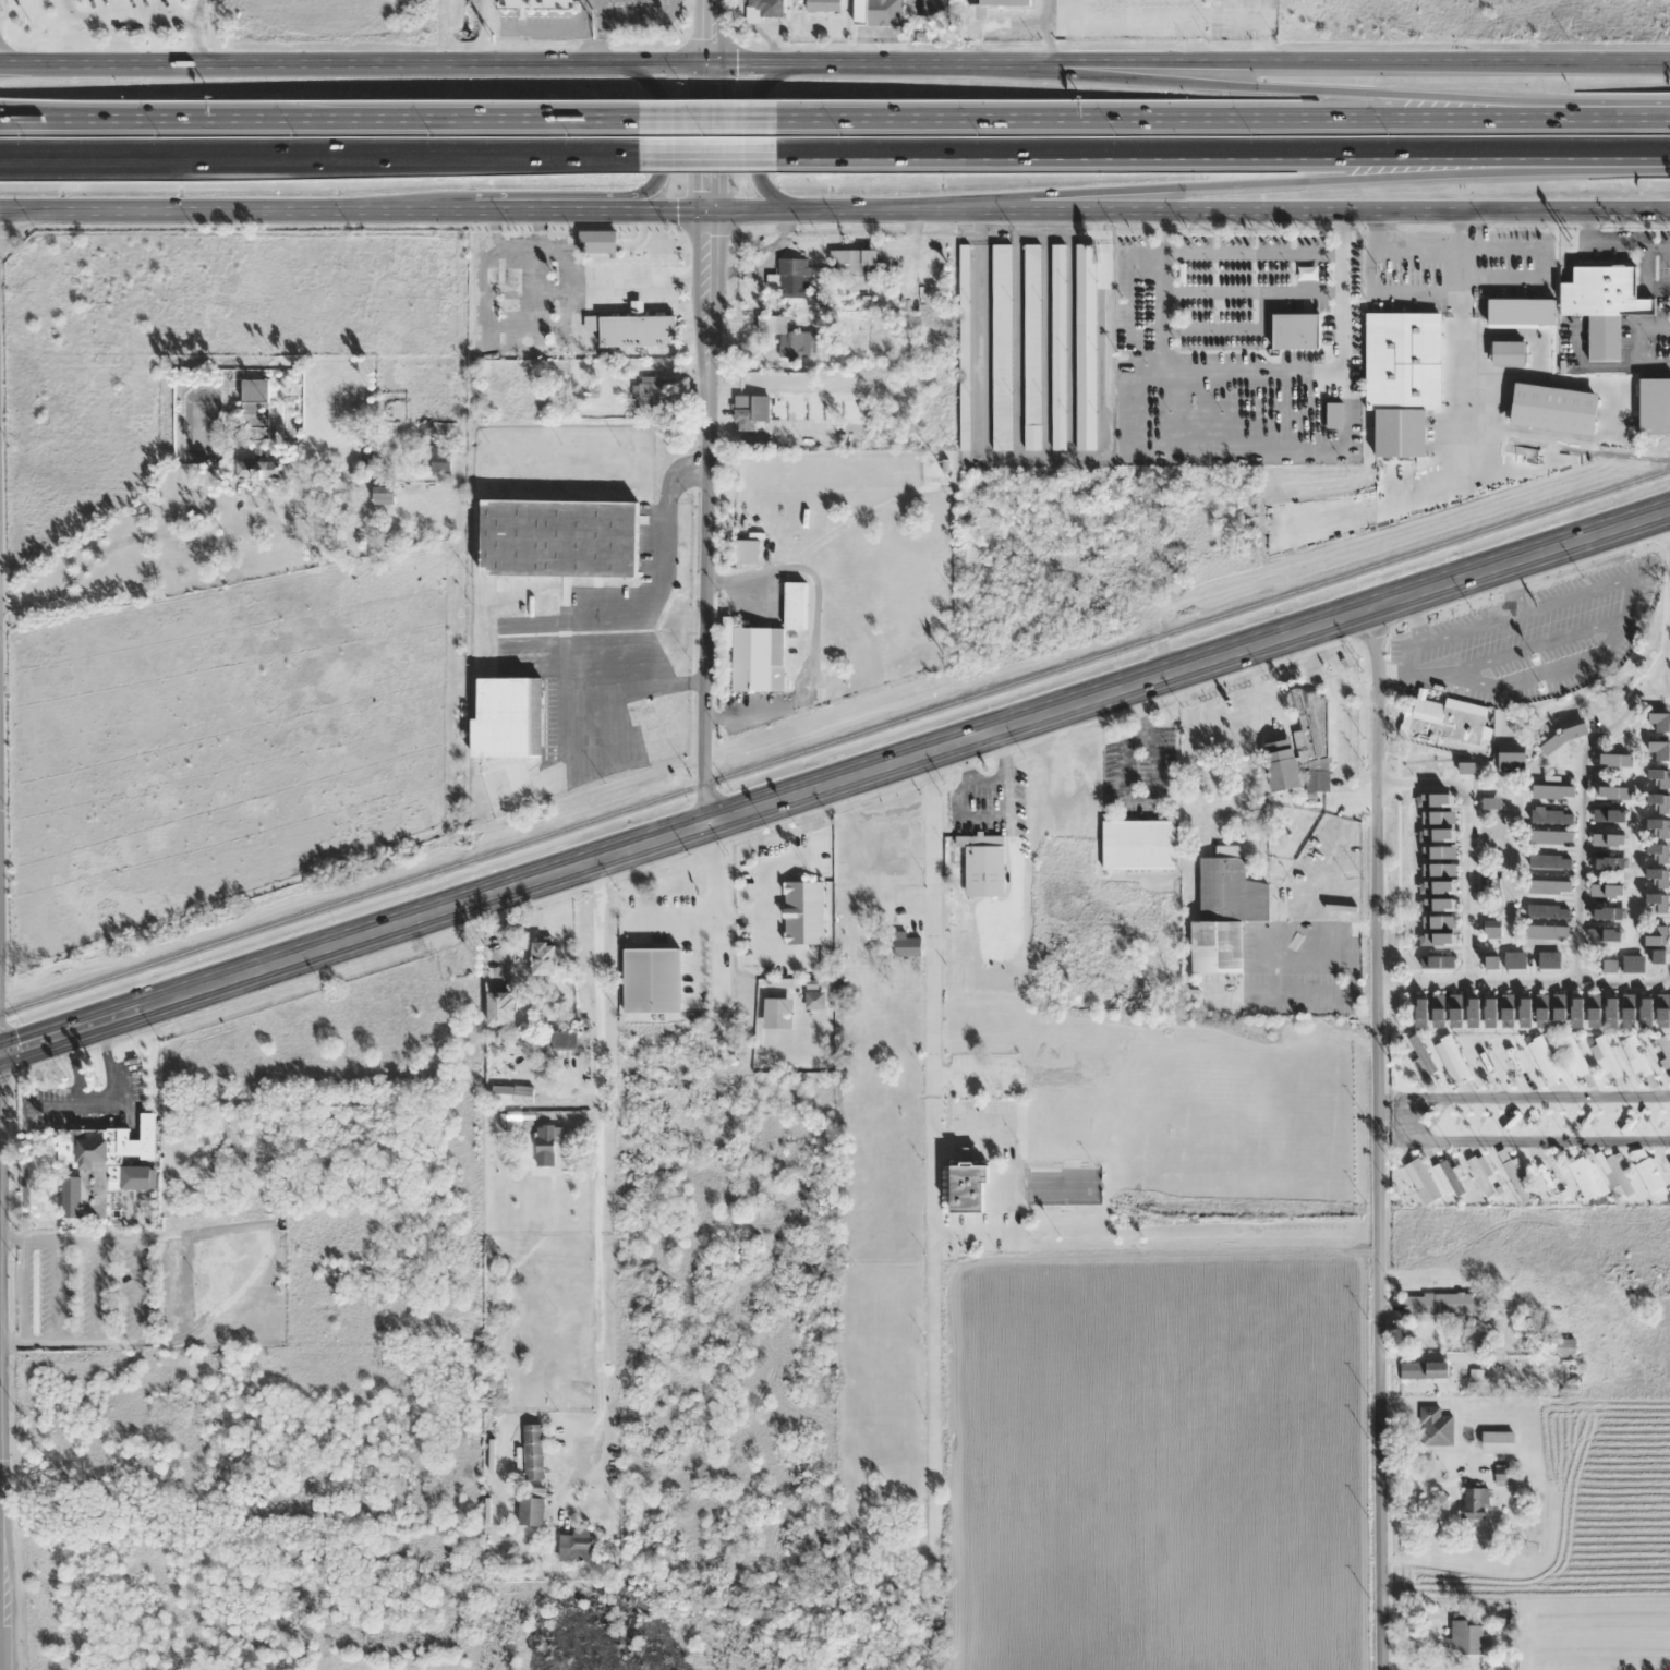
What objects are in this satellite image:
building: (534, 3)
building: (1006, 3)
building: (822, 4)
building: (934, 8)
building: (764, 9)
building: (876, 12)
road: (3, 58)
road: (834, 62)
road: (1099, 74)
road: (1314, 87)
road: (1443, 105)
road: (75, 120)
road: (396, 120)
road: (707, 120)
road: (928, 120)
road: (1225, 120)
road: (1443, 120)
road: (1592, 120)
street lamp: (1117, 134)
street lamp: (1251, 134)
street lamp: (1388, 134)
street lamp: (26, 135)
street lamp: (161, 135)
street lamp: (299, 135)
street lamp: (436, 135)
street lamp: (571, 135)
road: (755, 135)
street lamp: (843, 135)
street lamp: (980, 135)
road: (657, 140)
road: (1583, 153)
road: (1136, 155)
road: (707, 158)
road: (319, 159)
building: (740, 184)
road: (1284, 184)
road: (834, 209)
building: (596, 242)
building: (846, 261)
building: (794, 277)
building: (1602, 305)
building: (1521, 313)
building: (775, 329)
building: (1296, 331)
building: (637, 334)
building: (1001, 347)
building: (1031, 347)
building: (1057, 347)
building: (1085, 347)
building: (963, 348)
building: (1508, 353)
building: (1402, 378)
building: (648, 392)
building: (1654, 407)
building: (254, 409)
building: (1554, 409)
road: (706, 411)
building: (743, 413)
building: (1145, 439)
building: (439, 460)
building: (261, 470)
building: (384, 495)
building: (558, 538)
building: (1659, 669)
road: (1660, 686)
building: (1660, 710)
building: (508, 719)
building: (1445, 721)
building: (1563, 722)
railway: (834, 739)
building: (1542, 746)
building: (1302, 749)
building: (1660, 753)
road: (1583, 754)
building: (1467, 775)
building: (1537, 776)
road: (834, 778)
building: (1590, 778)
building: (1660, 798)
building: (1469, 820)
building: (1537, 832)
building: (1593, 832)
building: (1662, 836)
road: (1465, 837)
building: (1143, 845)
building: (1469, 858)
building: (982, 863)
building: (1537, 874)
building: (1593, 879)
building: (1661, 880)
building: (1471, 901)
building: (802, 911)
building: (1224, 911)
building: (1537, 923)
building: (1594, 923)
building: (1662, 923)
building: (907, 945)
building: (1472, 945)
building: (543, 958)
building: (1430, 976)
building: (651, 980)
road: (1521, 981)
building: (1558, 1003)
building: (499, 1008)
building: (1663, 1052)
building: (1575, 1054)
building: (1513, 1055)
building: (1604, 1056)
building: (1634, 1056)
building: (1420, 1058)
building: (1451, 1058)
building: (1544, 1060)
road: (109, 1064)
road: (74, 1067)
road: (73, 1103)
road: (128, 1118)
road: (1421, 1118)
road: (1371, 1137)
building: (546, 1143)
building: (1535, 1157)
building: (92, 1164)
building: (1648, 1173)
building: (1617, 1174)
building: (1480, 1176)
building: (140, 1177)
building: (1586, 1177)
building: (1515, 1178)
building: (1420, 1181)
building: (1551, 1181)
building: (969, 1187)
road: (22, 1288)
road: (53, 1288)
road: (95, 1288)
road: (134, 1290)
building: (1501, 1302)
building: (1442, 1304)
building: (1561, 1346)
building: (1424, 1369)
building: (1435, 1427)
building: (1497, 1441)
building: (532, 1452)
building: (1474, 1503)
road: (0, 1504)
building: (530, 1511)
building: (577, 1547)
building: (1464, 1635)

